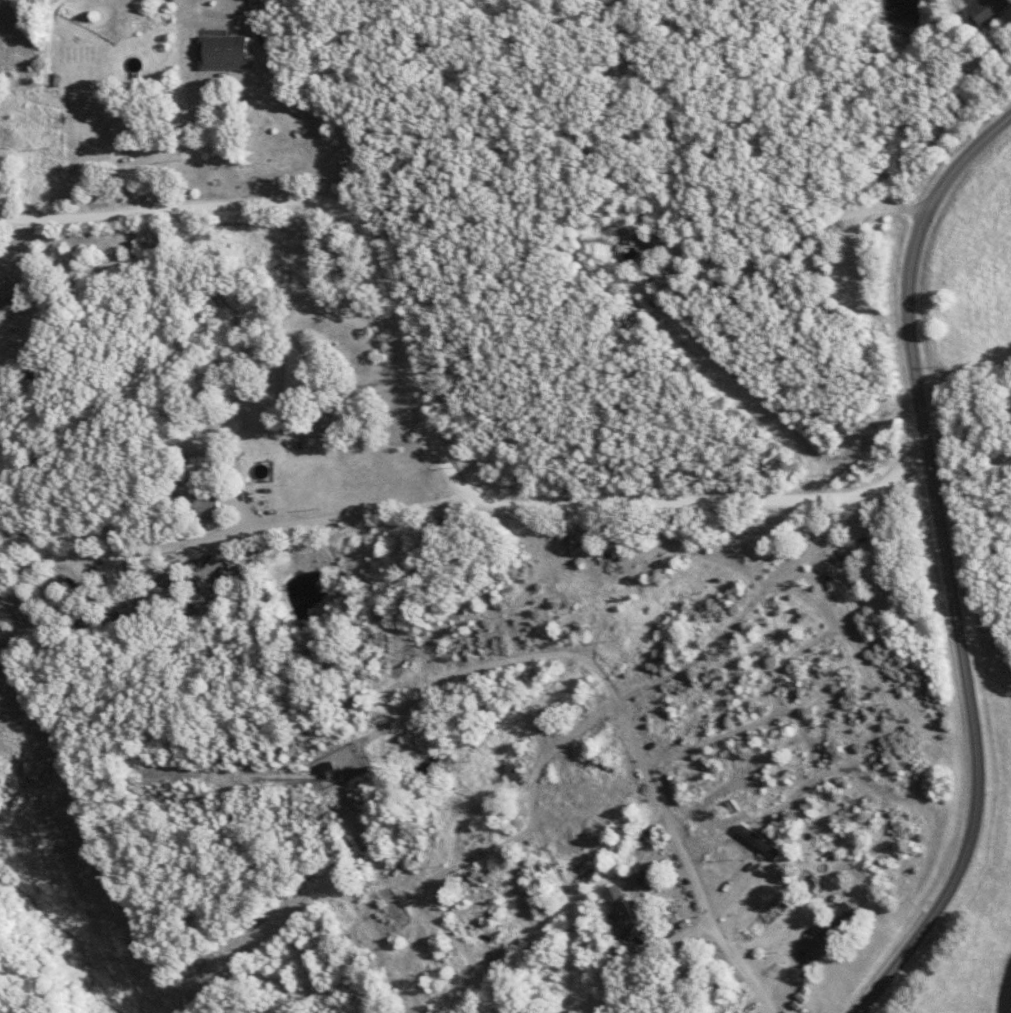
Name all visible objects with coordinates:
building: (994, 11)
building: (230, 53)
building: (136, 132)
road: (136, 154)
road: (288, 174)
road: (28, 273)
building: (0, 309)
building: (300, 373)
road: (419, 422)
building: (202, 467)
building: (211, 507)
road: (283, 530)
road: (946, 563)
building: (118, 571)
building: (765, 842)
building: (619, 895)
building: (629, 920)
building: (845, 921)
building: (822, 946)

